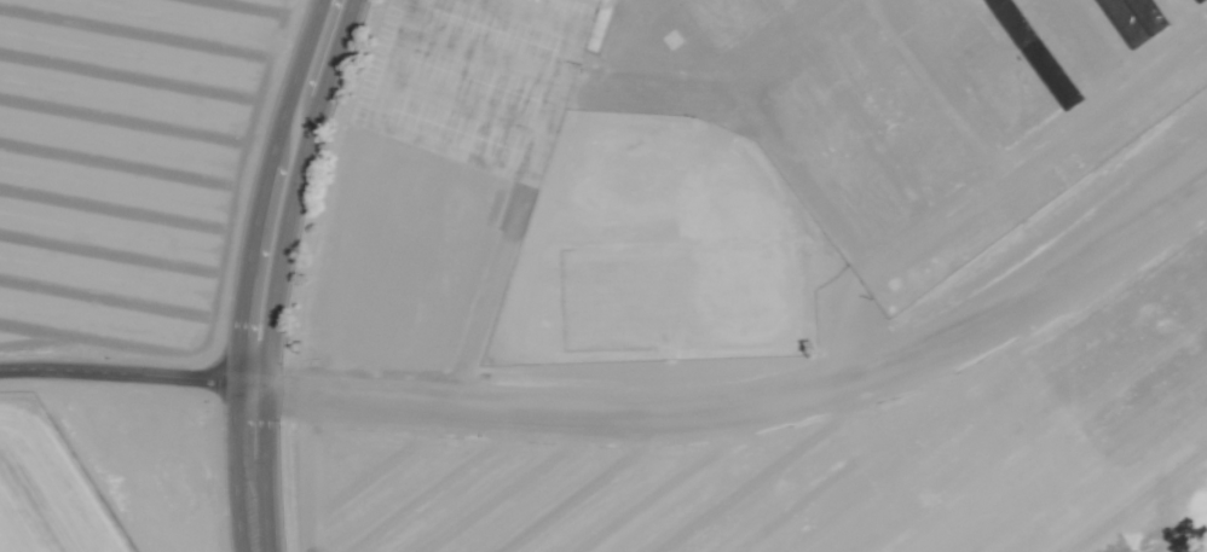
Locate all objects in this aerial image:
road: (334, 48)
road: (300, 59)
building: (584, 60)
road: (281, 237)
road: (249, 246)
road: (125, 371)
road: (249, 464)
airport: (46, 488)
park: (1179, 533)

